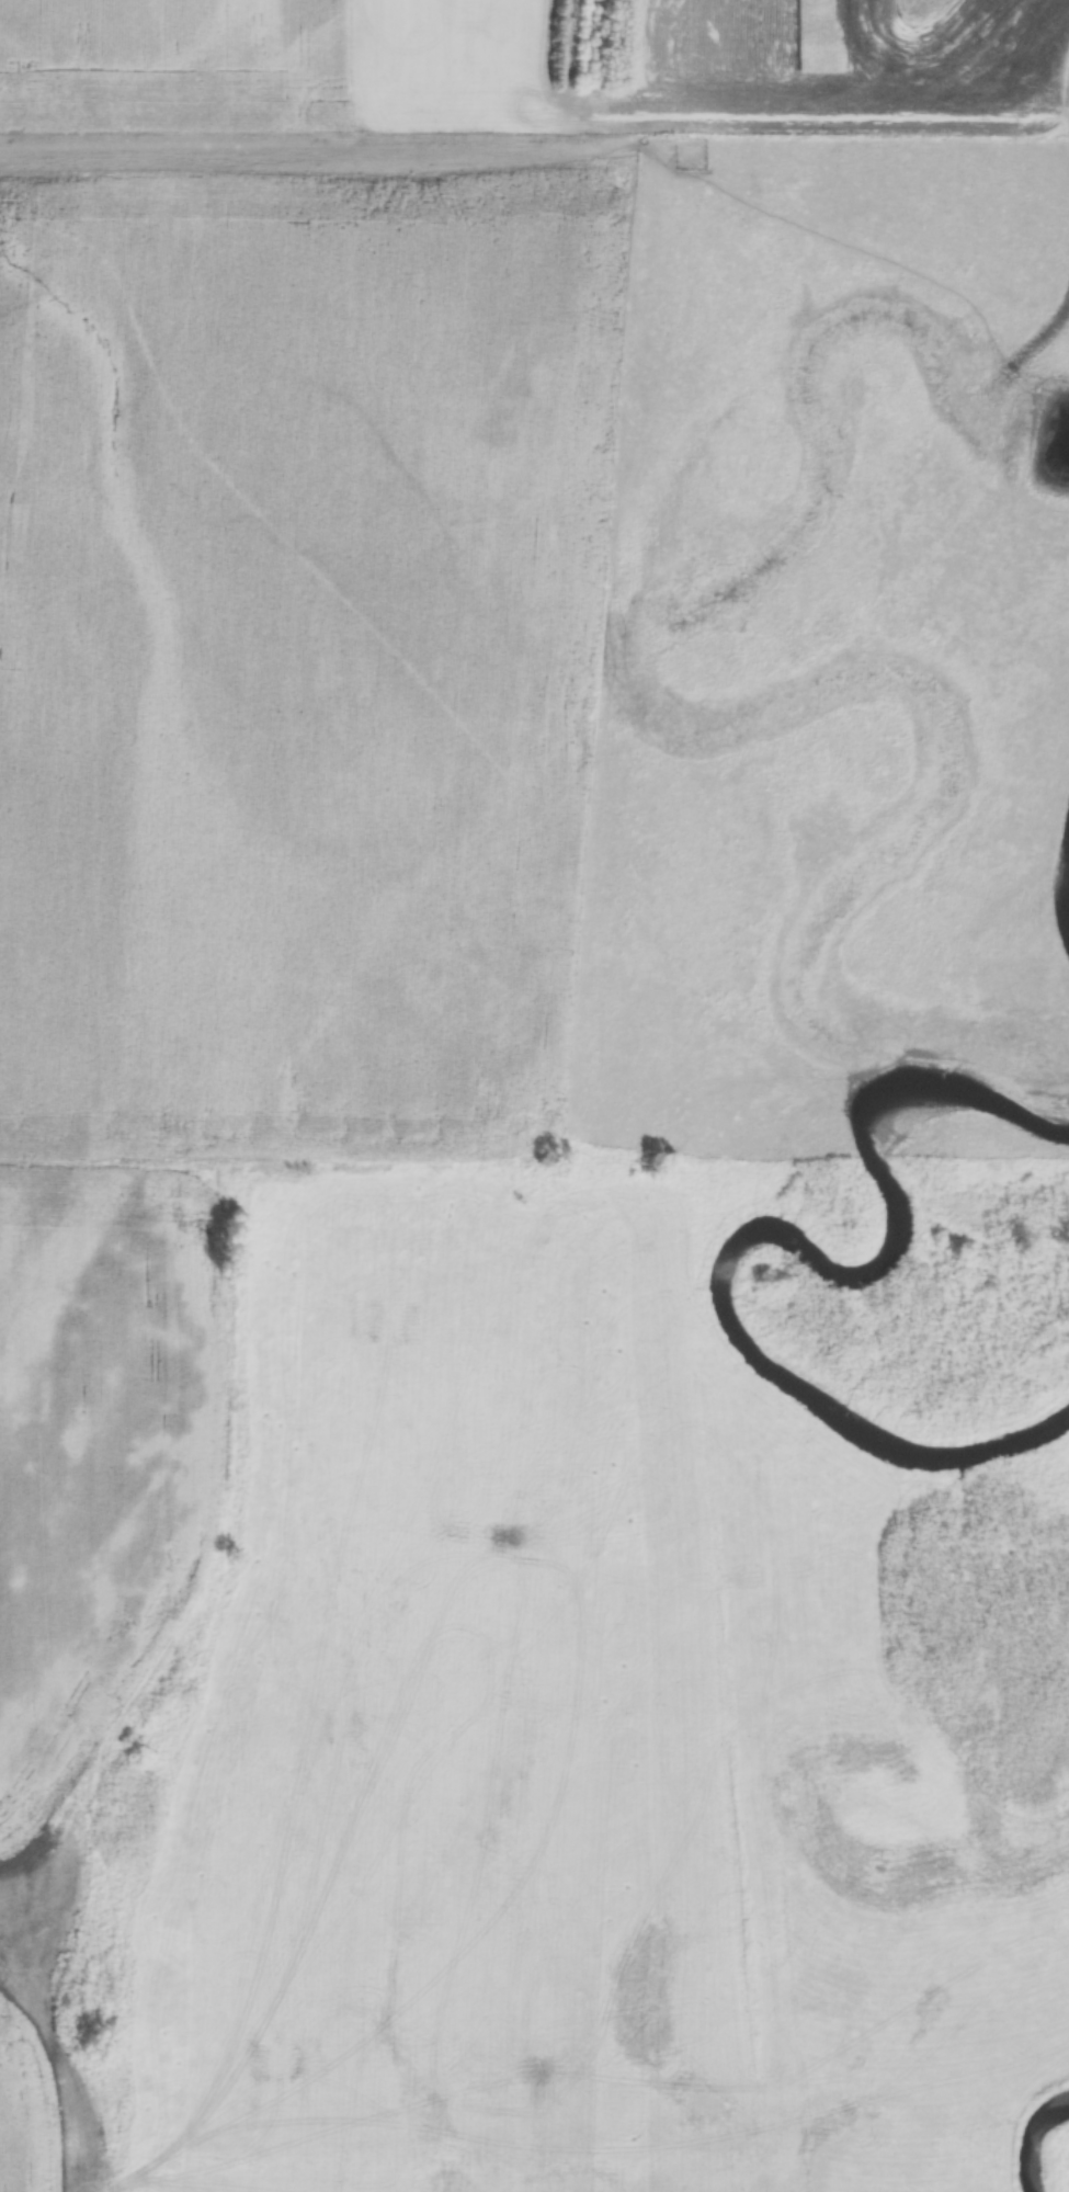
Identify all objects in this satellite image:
river: (741, 1245)
river: (1023, 2134)

